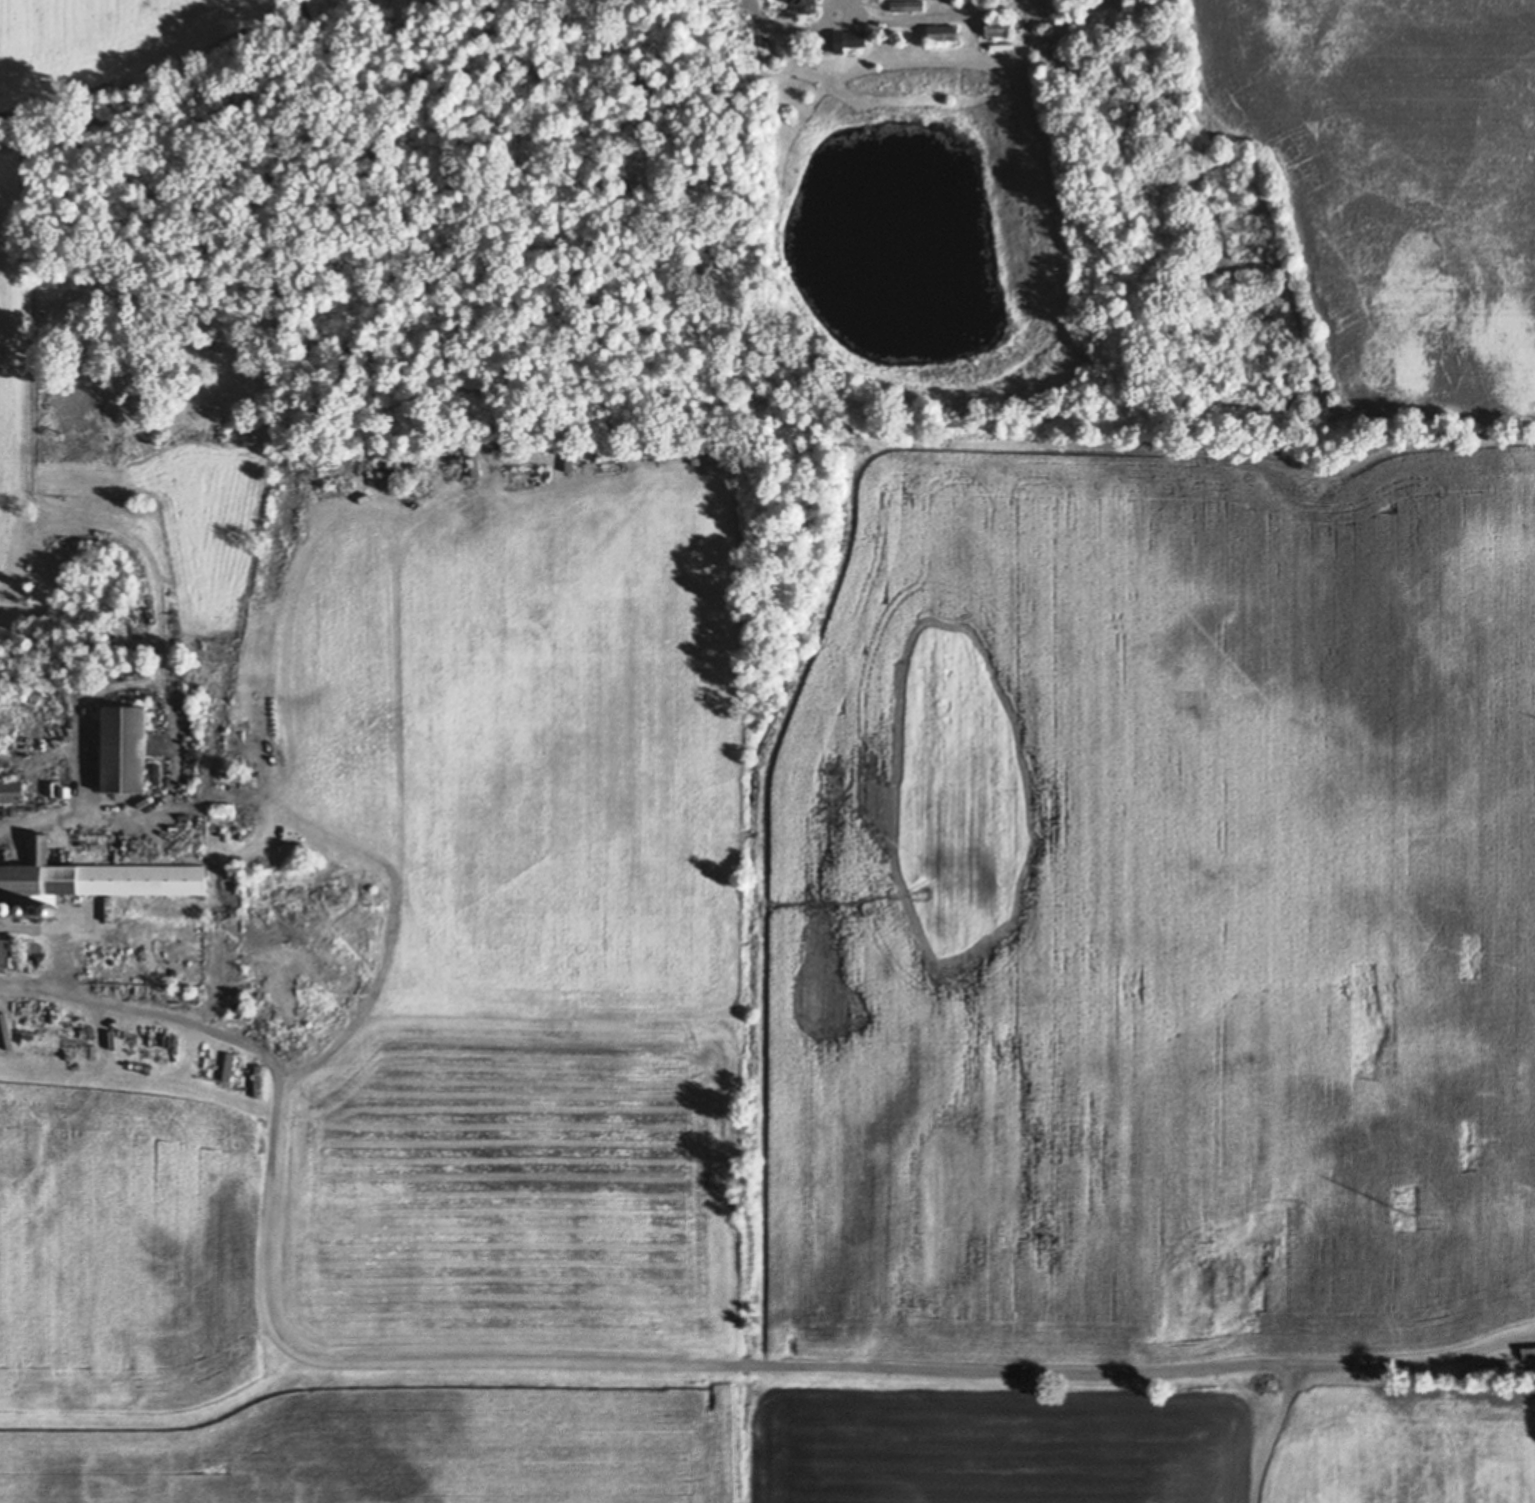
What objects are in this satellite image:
building: (969, 3)
building: (805, 4)
building: (907, 5)
building: (1142, 6)
road: (906, 25)
building: (998, 27)
building: (942, 33)
building: (896, 35)
building: (847, 39)
building: (766, 42)
building: (879, 131)
building: (695, 451)
building: (569, 458)
building: (474, 463)
building: (496, 476)
building: (170, 631)
building: (177, 641)
building: (55, 663)
building: (69, 664)
building: (182, 692)
building: (4, 741)
building: (34, 747)
building: (121, 749)
building: (154, 773)
building: (228, 775)
building: (52, 789)
building: (12, 790)
building: (64, 792)
building: (183, 818)
building: (89, 827)
building: (240, 834)
building: (299, 863)
building: (98, 876)
building: (7, 908)
building: (51, 910)
building: (36, 911)
building: (24, 912)
building: (3, 954)
building: (50, 1019)
building: (44, 1020)
building: (56, 1024)
building: (228, 1067)
building: (259, 1082)
power tower: (1405, 1212)
building: (1529, 1348)
building: (1530, 1354)
road: (621, 1356)
road: (1269, 1428)

